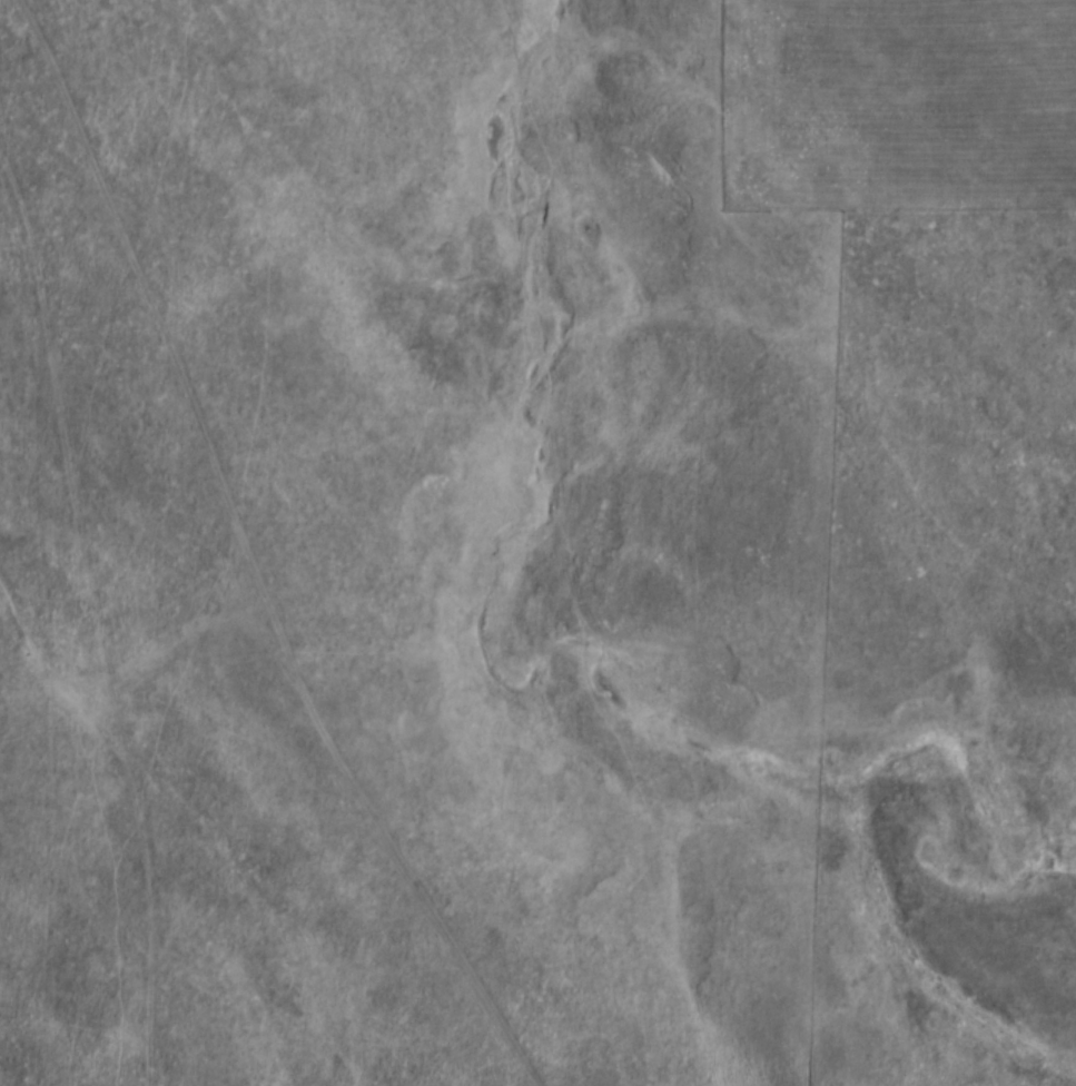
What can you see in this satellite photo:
road: (254, 554)
road: (52, 811)

